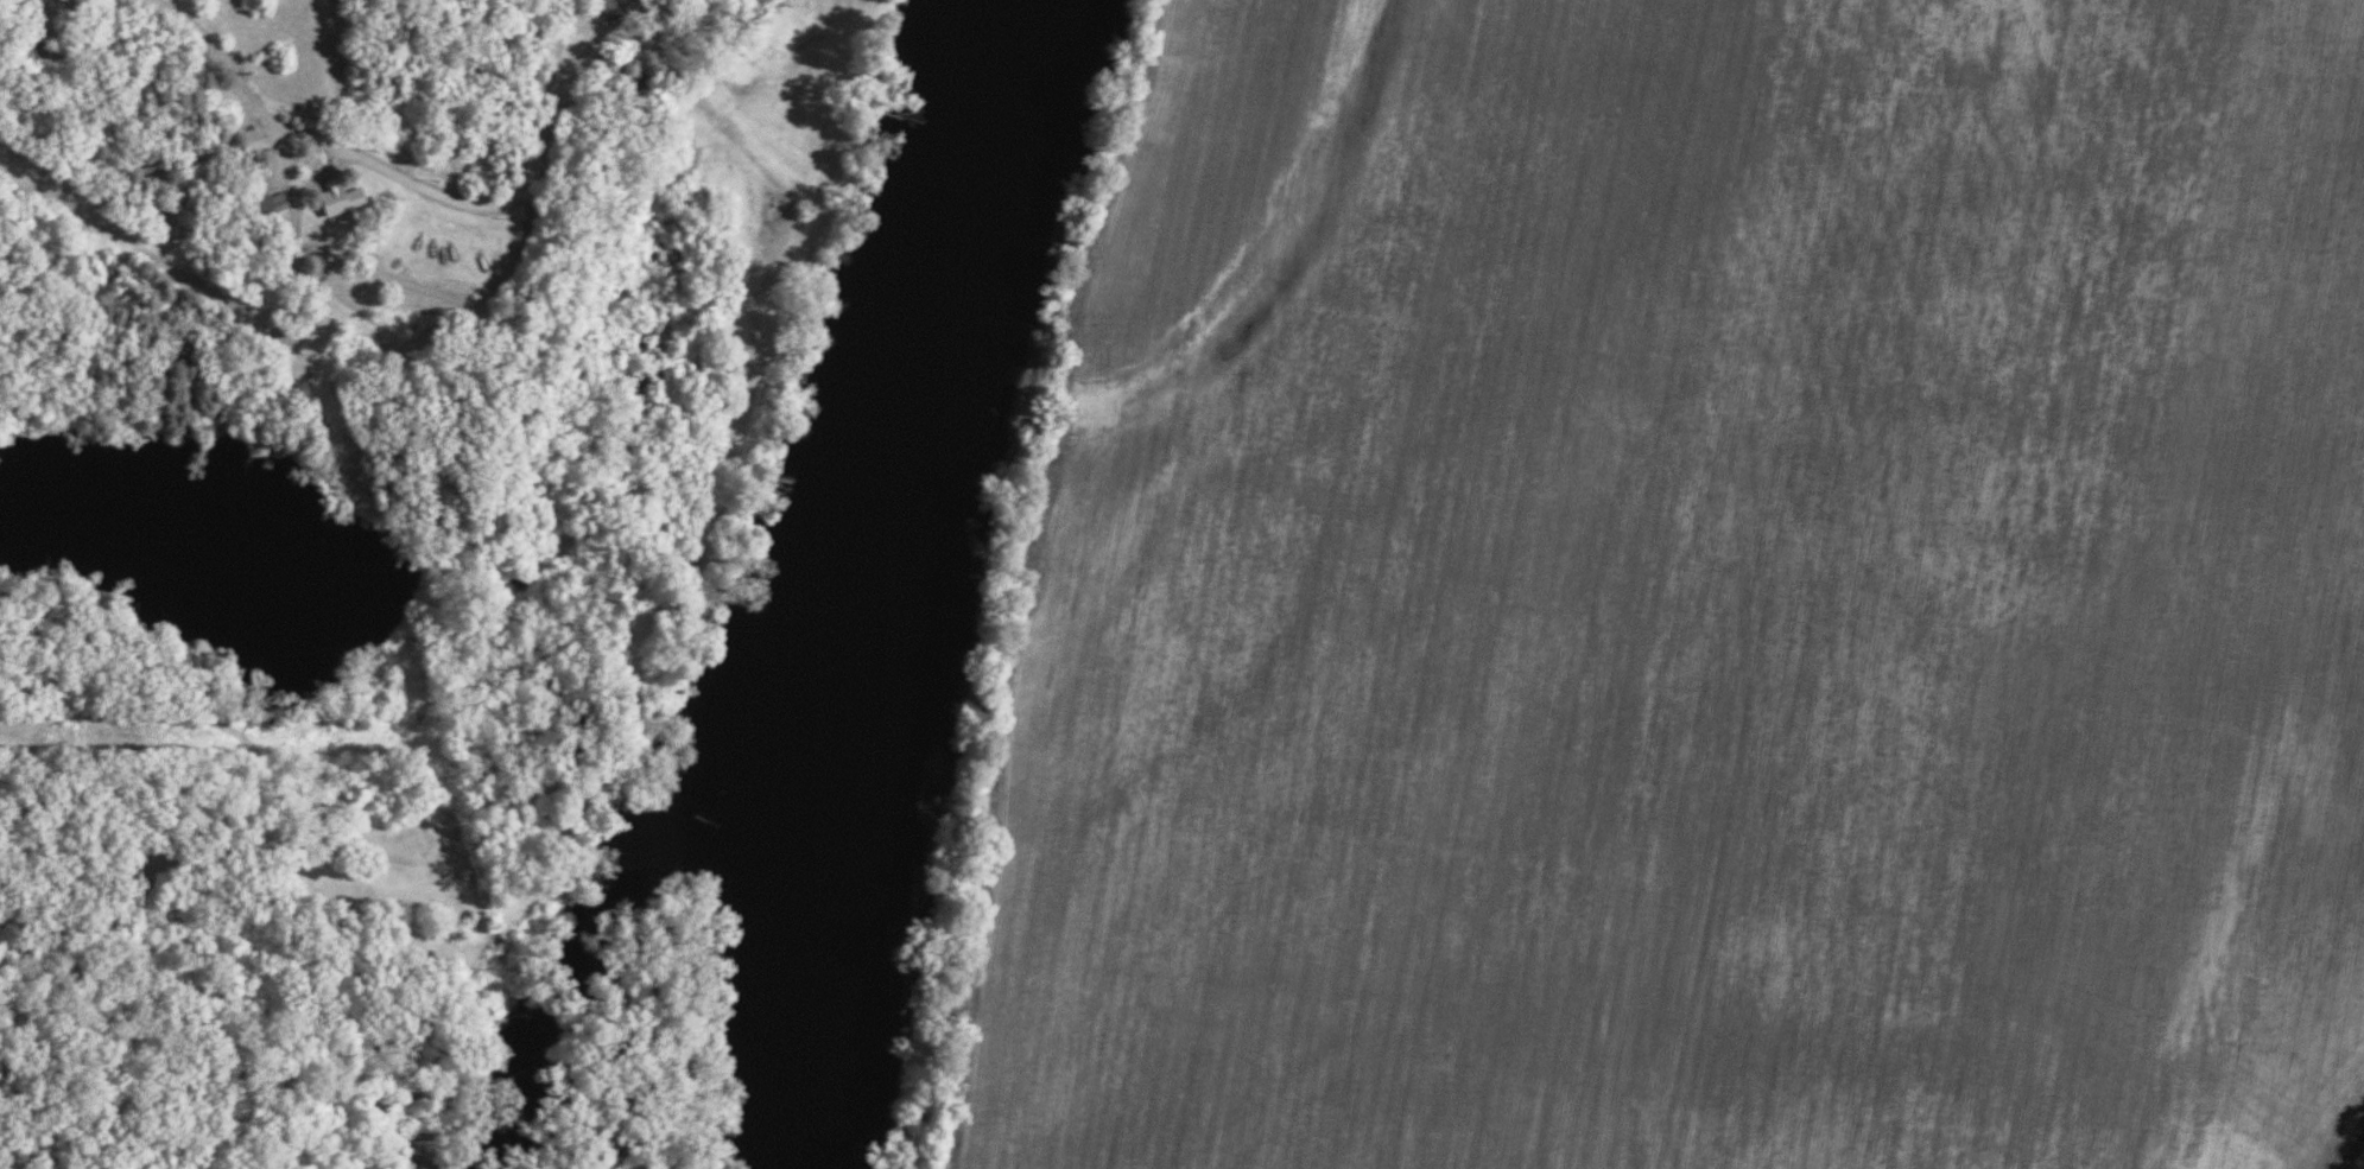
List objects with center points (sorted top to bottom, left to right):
building: (611, 11)
road: (303, 177)
road: (141, 185)
building: (347, 202)
building: (261, 208)
road: (512, 209)
road: (304, 284)
river: (861, 579)
road: (213, 745)
building: (490, 949)

